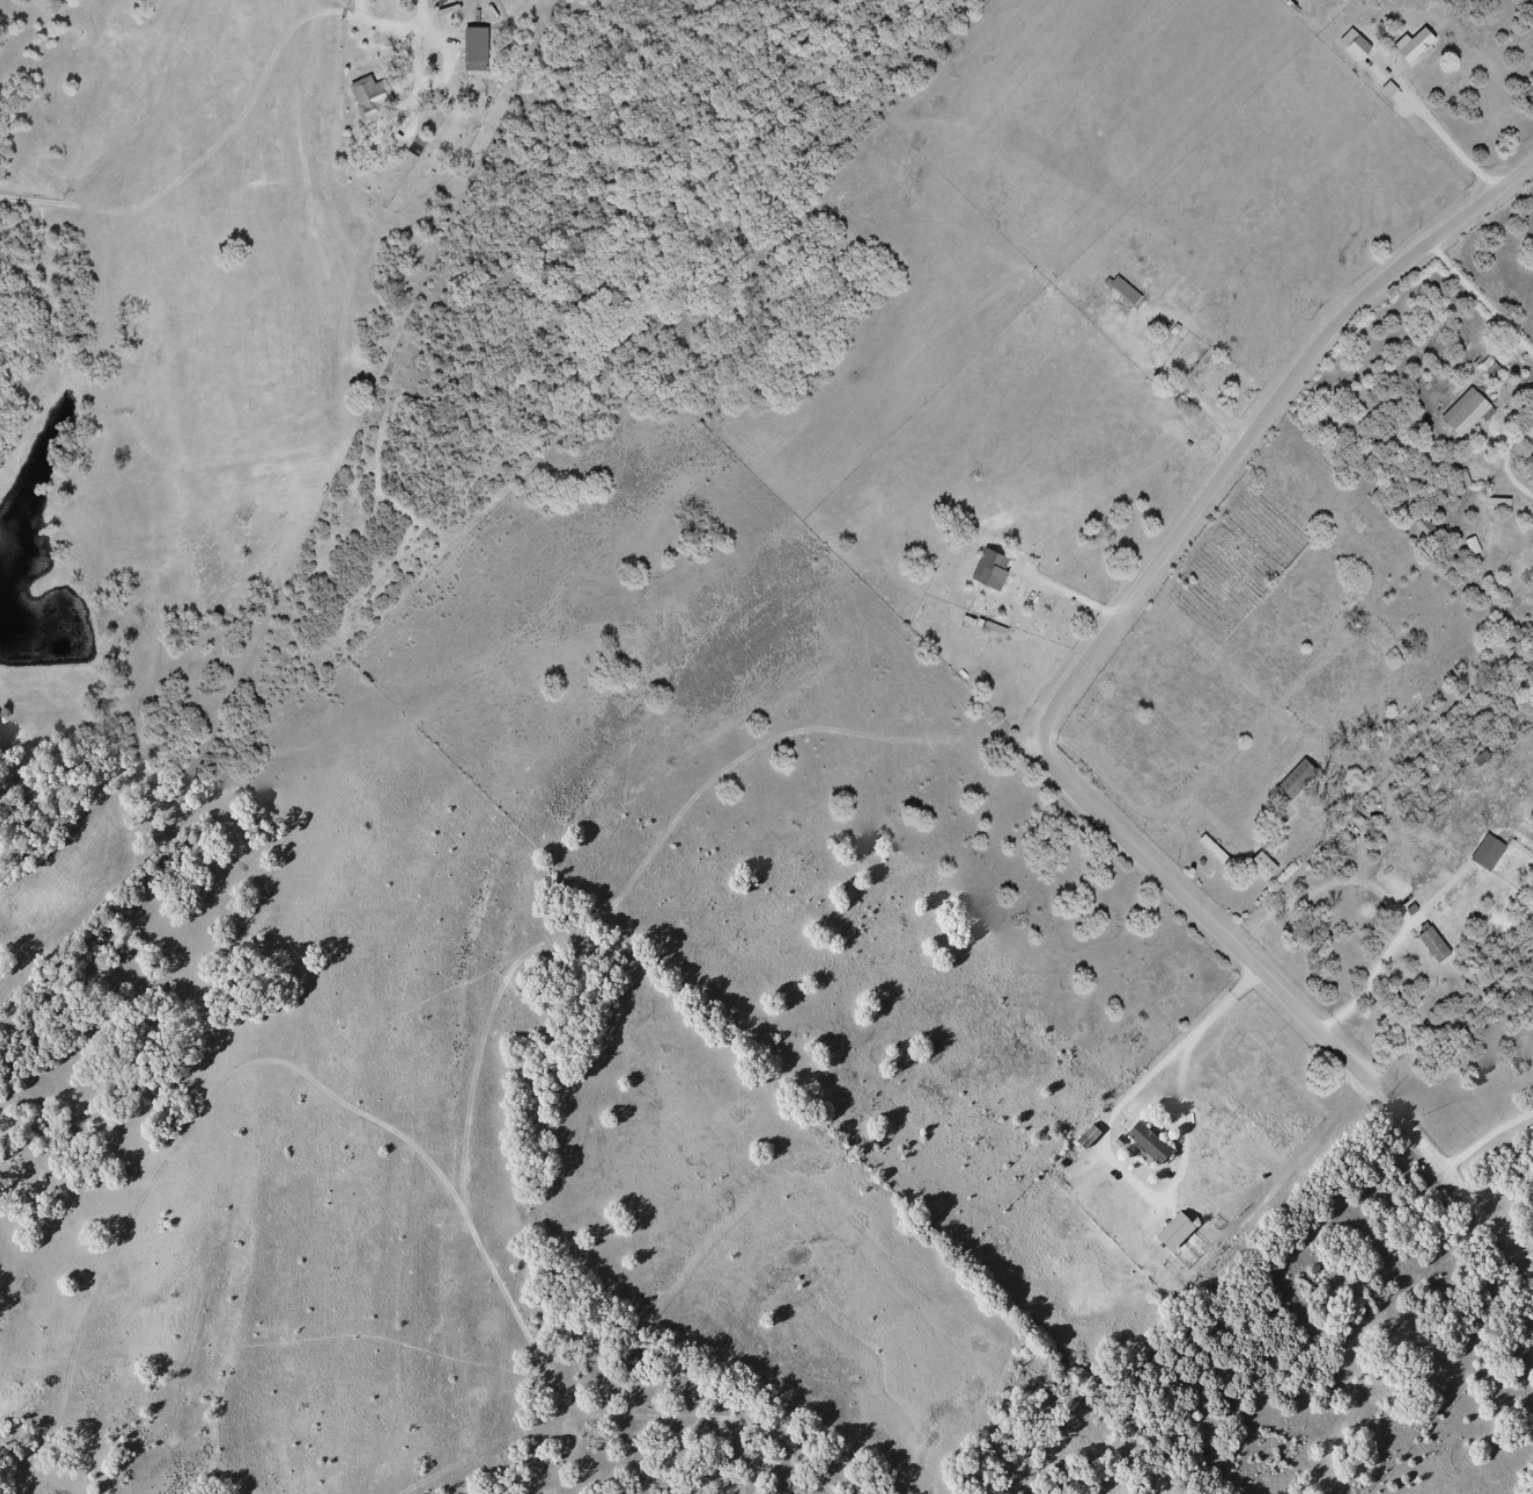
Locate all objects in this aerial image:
building: (1421, 46)
building: (472, 50)
building: (368, 100)
road: (1501, 263)
building: (1123, 292)
building: (1200, 375)
building: (1464, 413)
building: (1425, 529)
building: (1470, 546)
building: (988, 571)
road: (1383, 662)
road: (1052, 712)
building: (1293, 782)
building: (1485, 854)
building: (1259, 868)
building: (1430, 944)
road: (1448, 991)
road: (489, 1033)
building: (1085, 1137)
building: (1145, 1143)
building: (1171, 1231)

